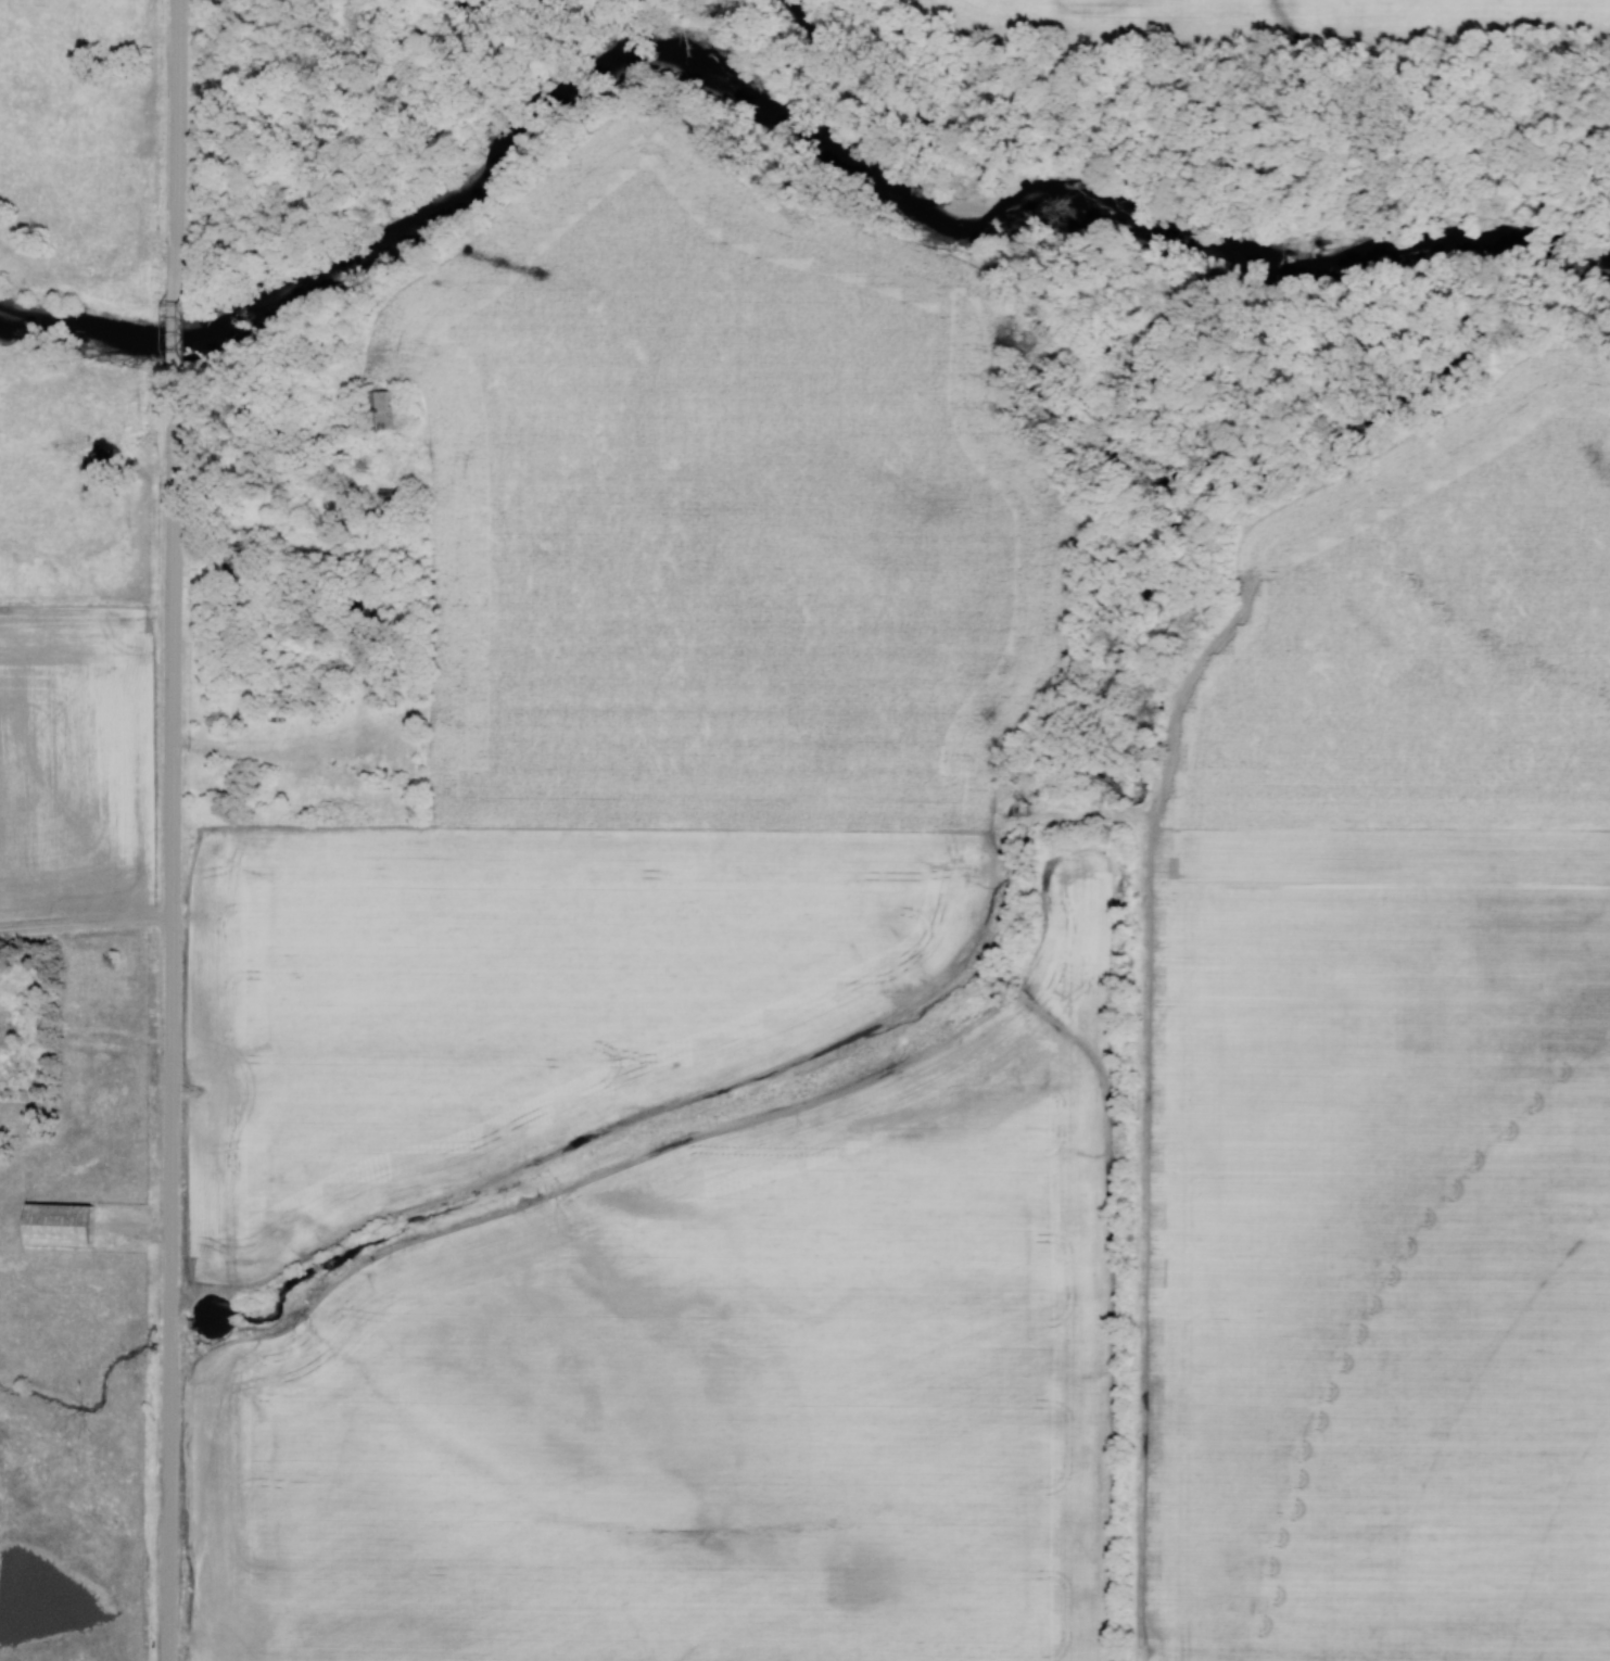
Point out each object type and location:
road: (176, 123)
road: (175, 316)
building: (390, 410)
road: (287, 738)
road: (87, 920)
road: (174, 1023)
building: (59, 1225)

